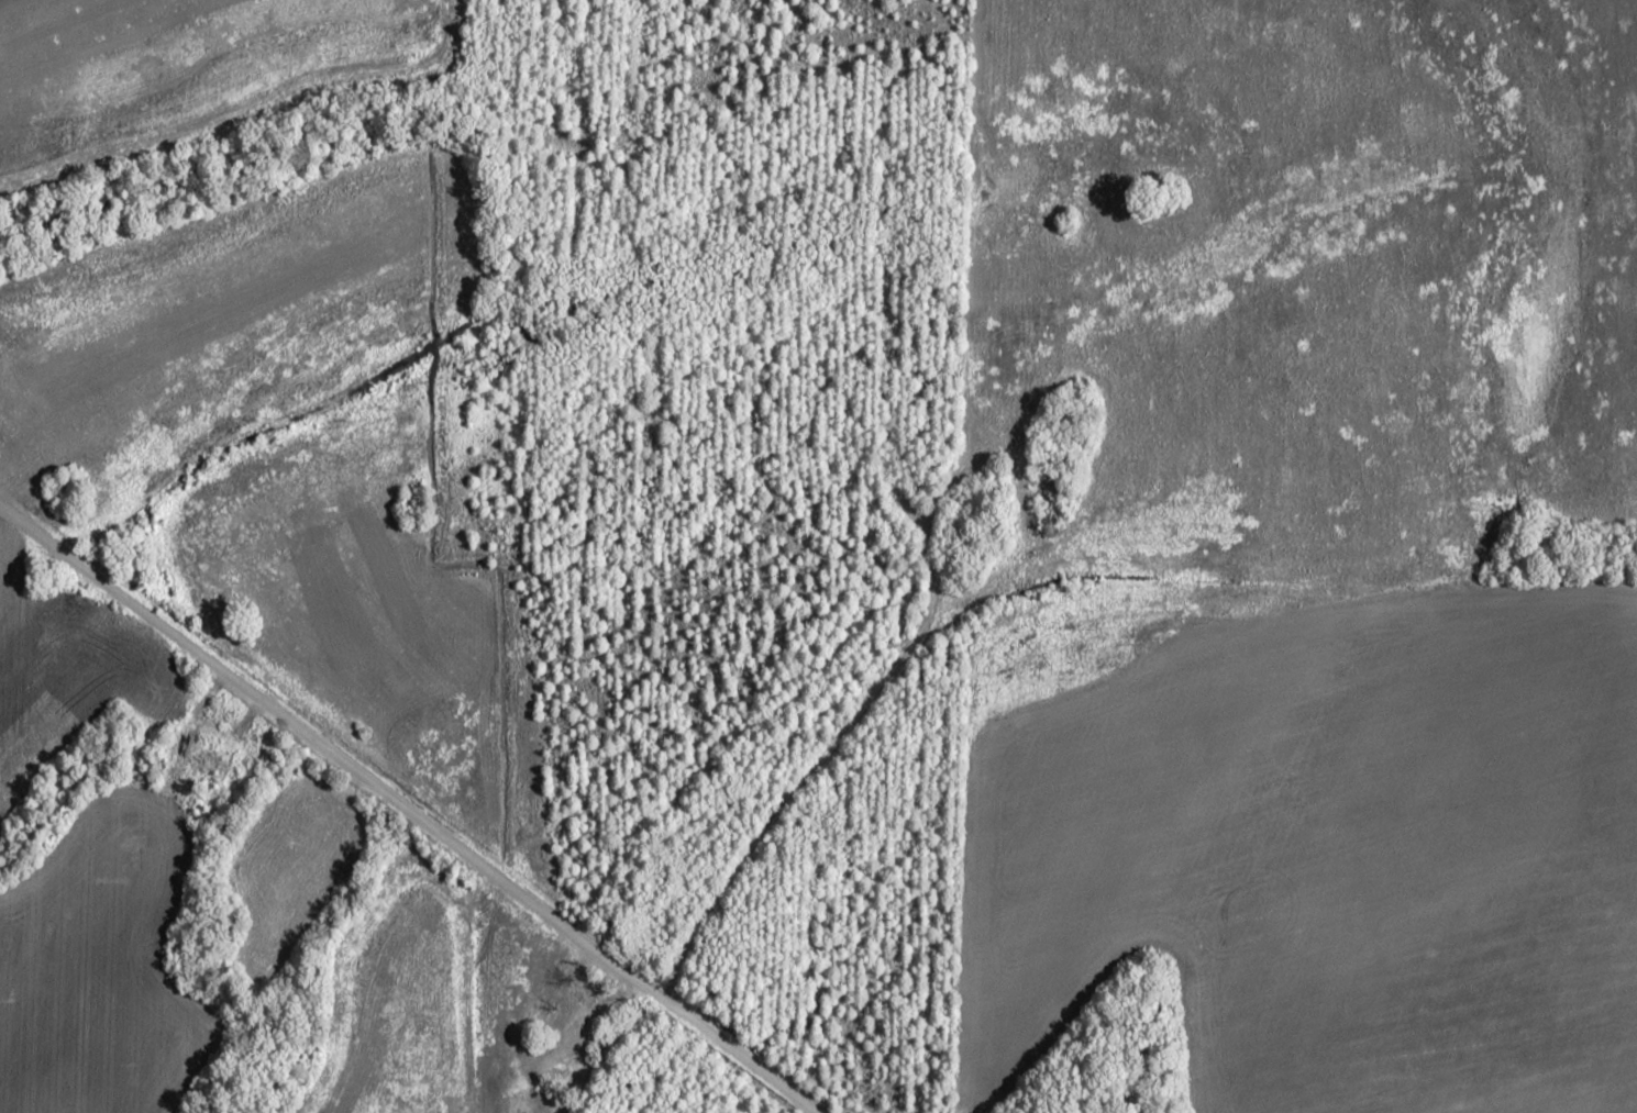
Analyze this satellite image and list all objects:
road: (960, 611)
road: (685, 1011)

